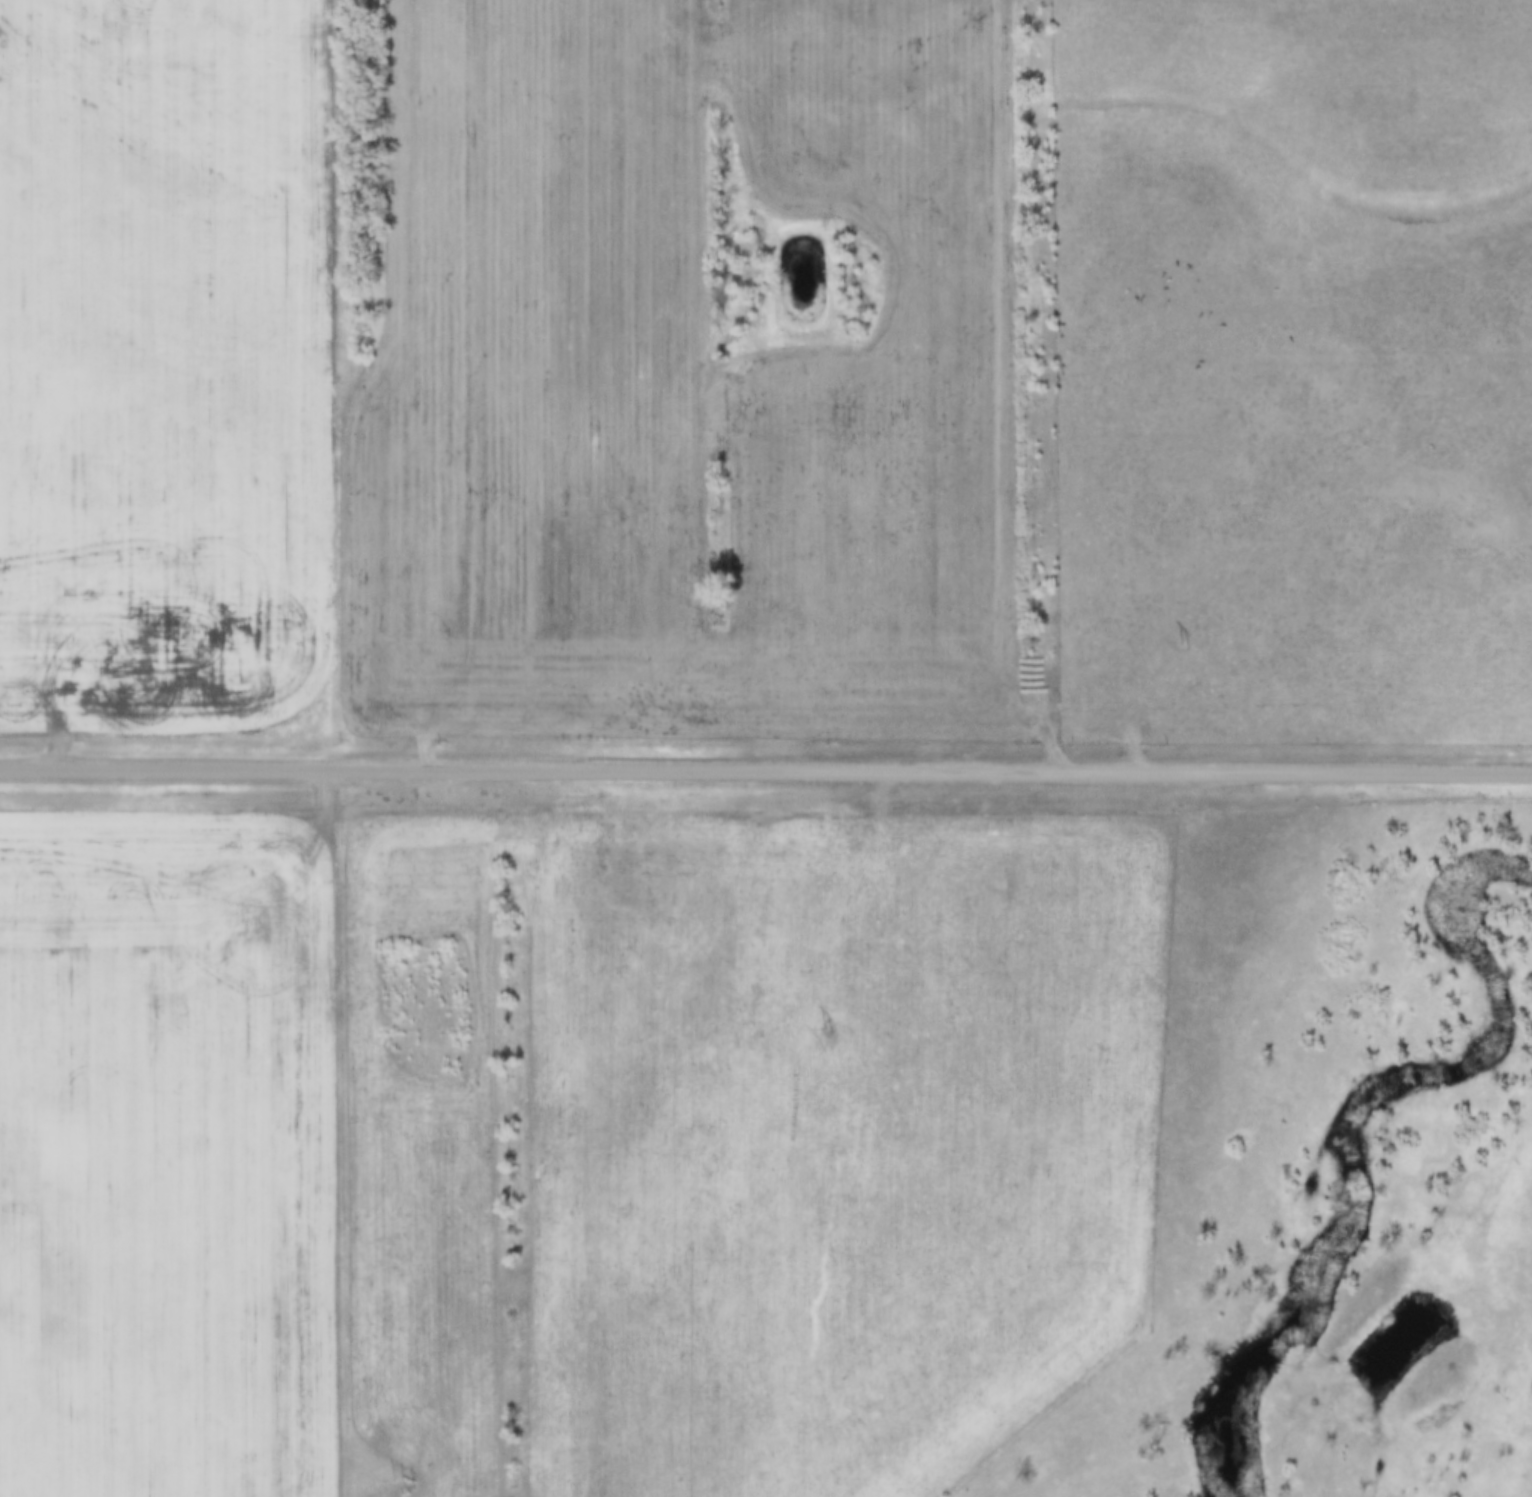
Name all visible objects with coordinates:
power tower: (1183, 645)
road: (765, 769)
power tower: (826, 1031)
power tower: (402, 1482)

